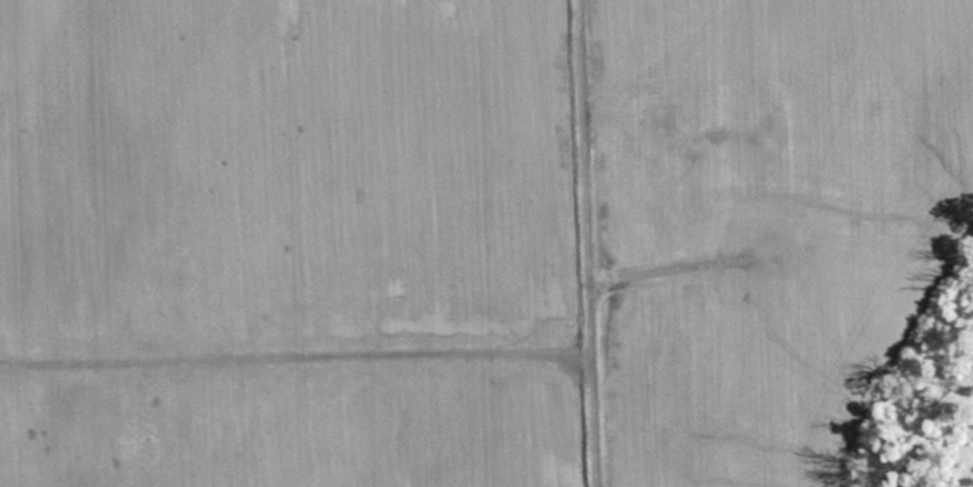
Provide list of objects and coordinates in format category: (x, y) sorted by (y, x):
road: (586, 243)

